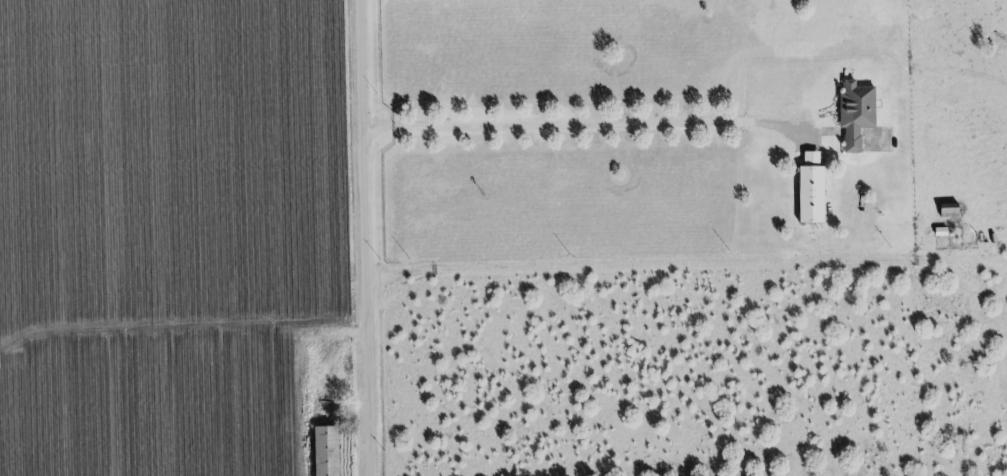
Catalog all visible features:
building: (856, 114)
road: (573, 125)
building: (811, 191)
road: (371, 238)
road: (329, 340)
building: (327, 451)

